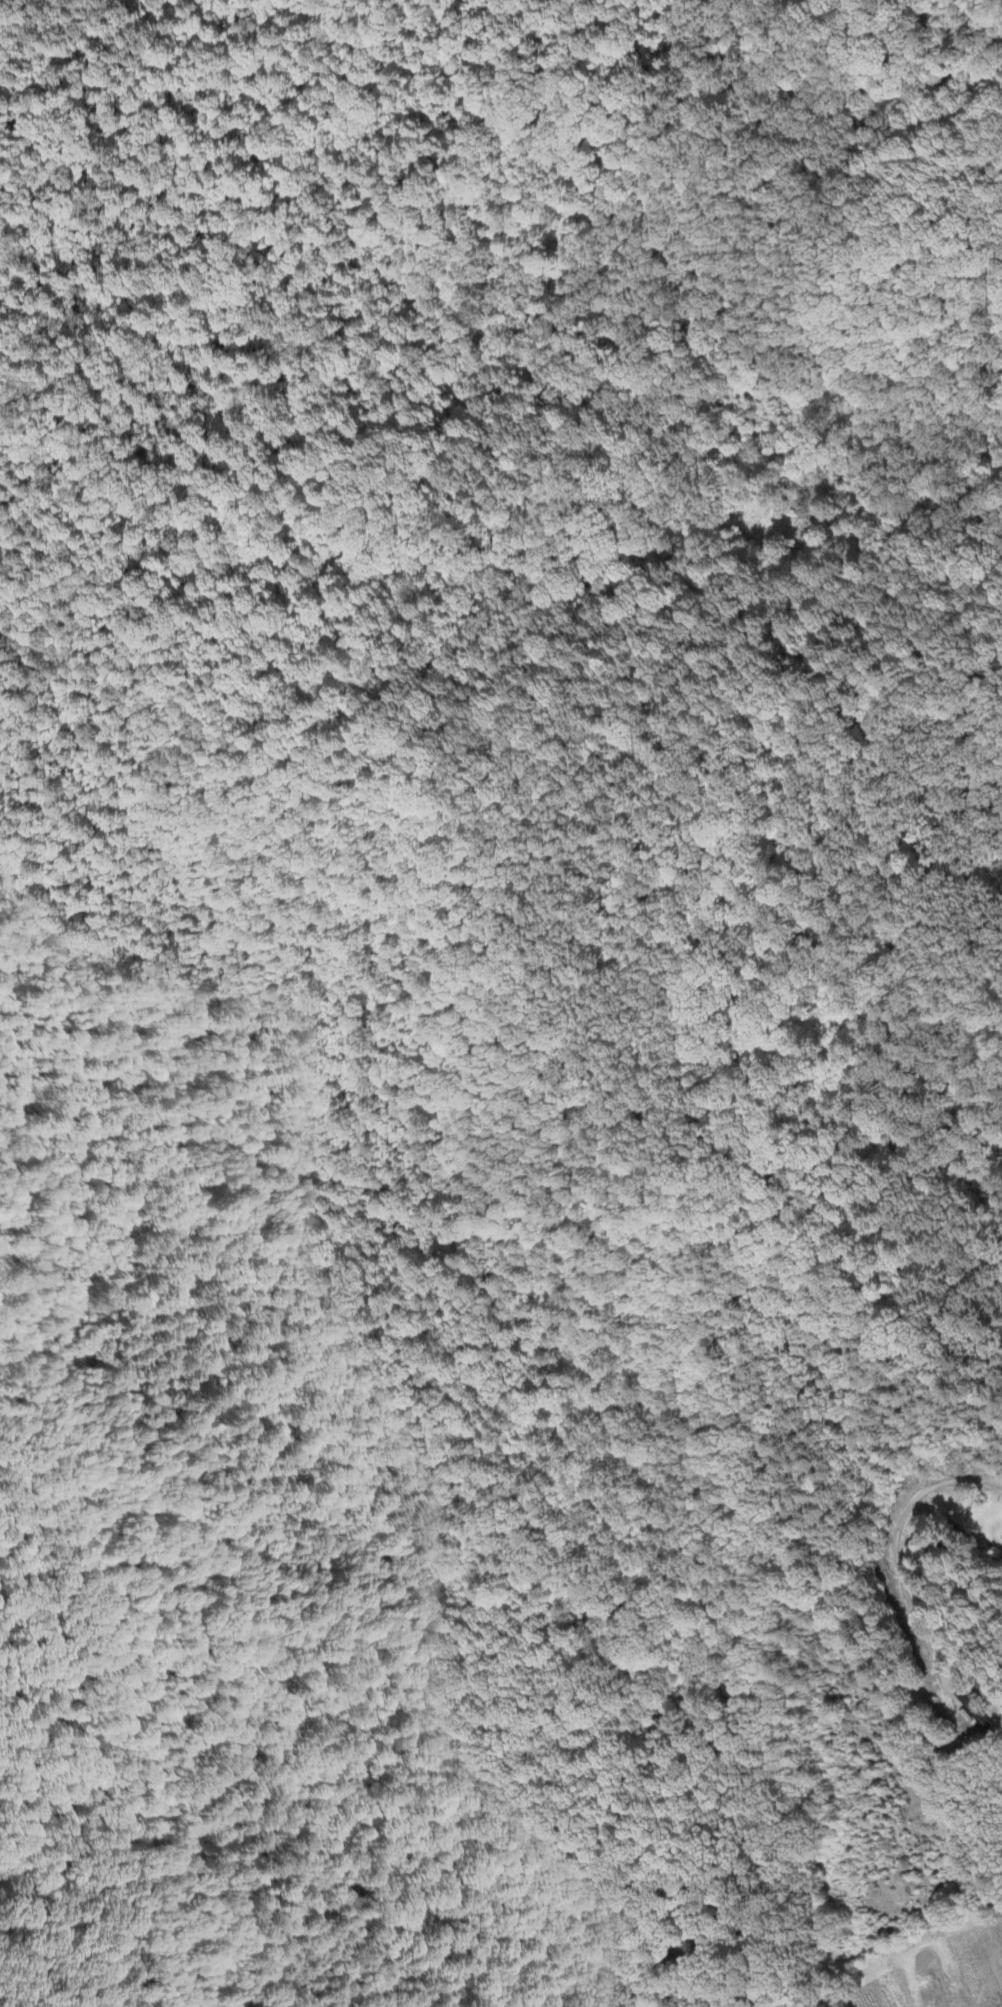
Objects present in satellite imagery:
road: (893, 1545)

